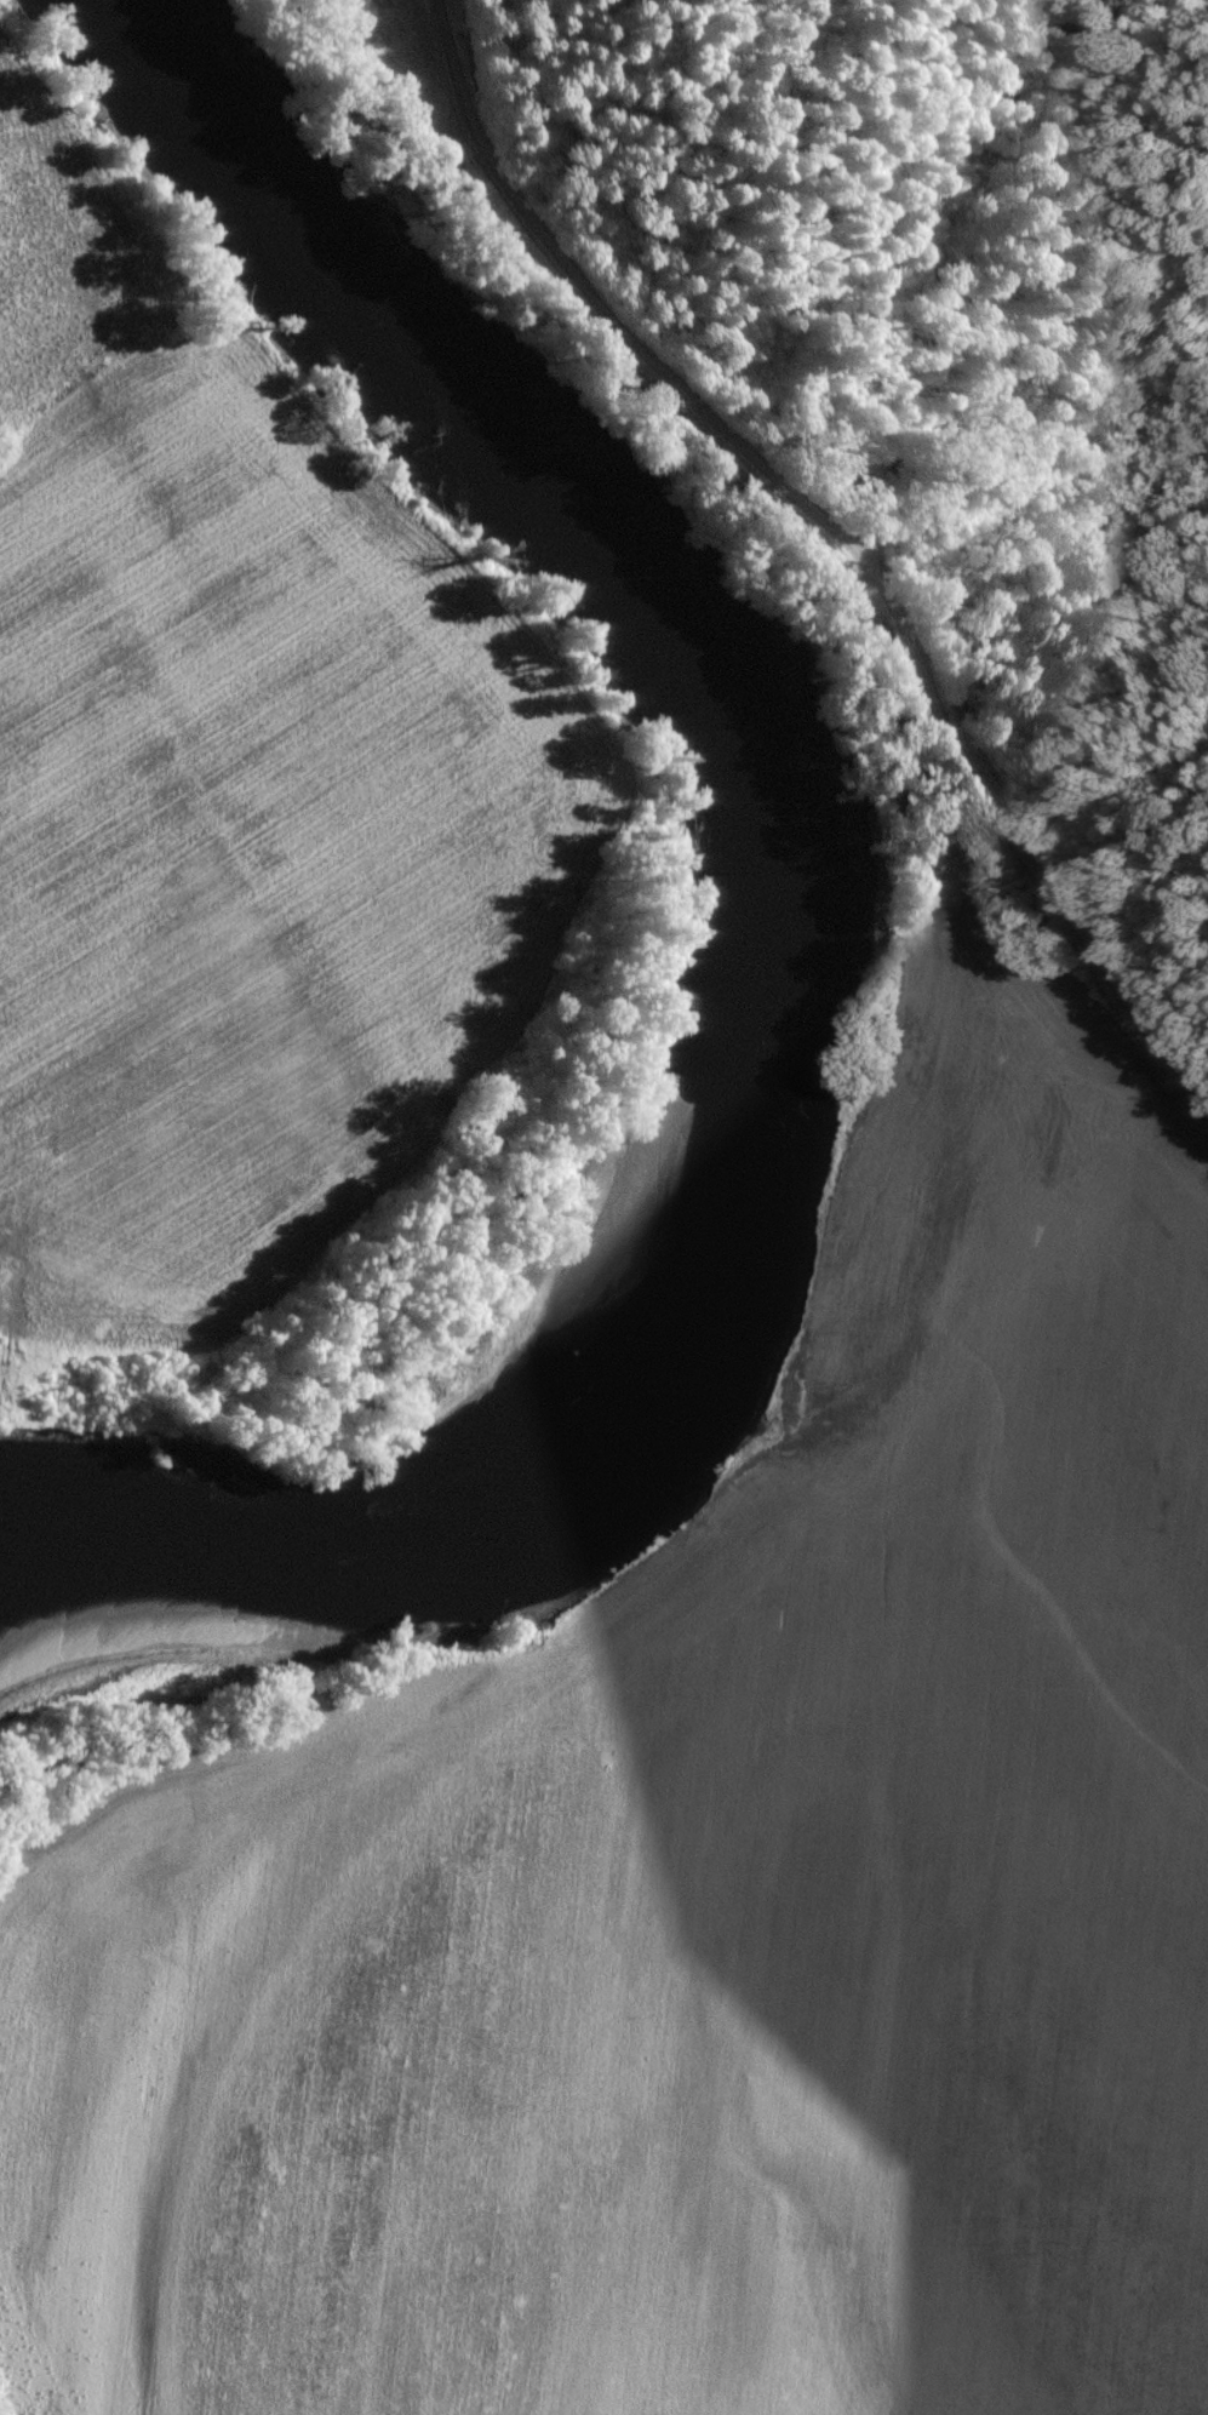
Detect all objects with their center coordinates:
road: (818, 556)
river: (798, 937)

